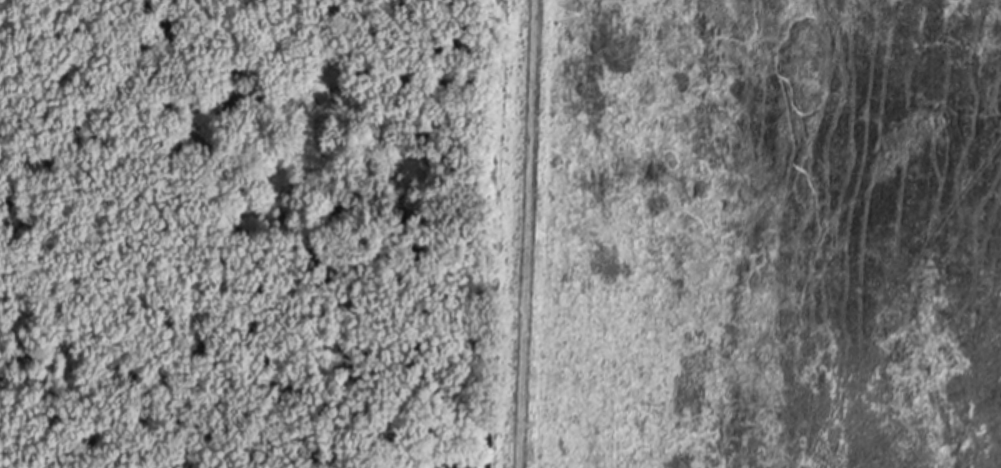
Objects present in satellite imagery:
crop: (759, 235)

